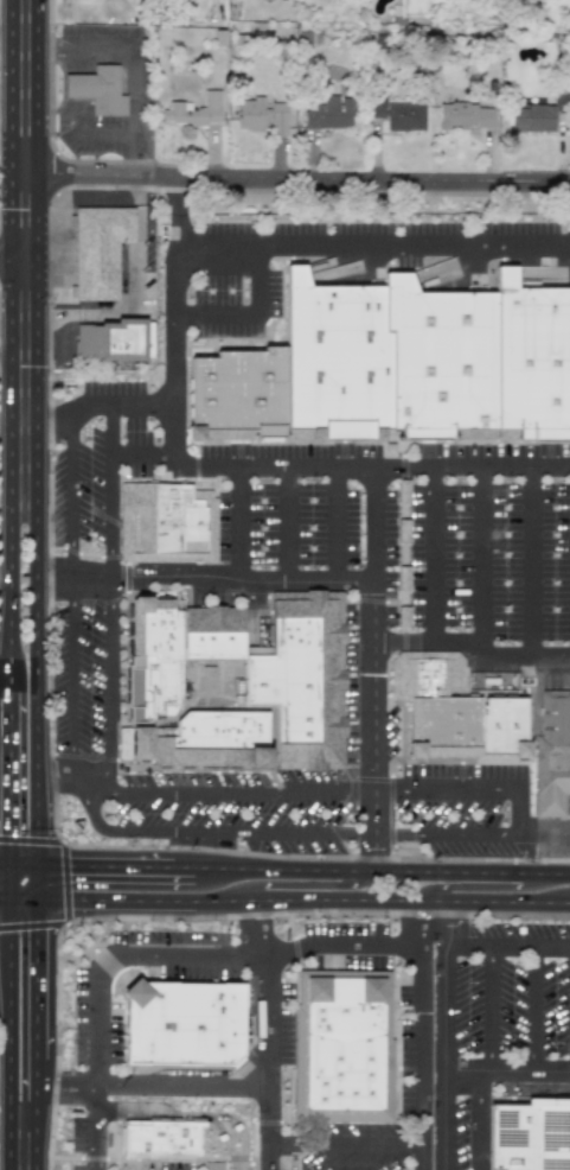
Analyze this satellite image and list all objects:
road: (5, 26)
road: (132, 64)
building: (96, 89)
building: (194, 110)
building: (329, 113)
building: (261, 114)
building: (397, 114)
building: (537, 114)
building: (465, 115)
road: (77, 133)
road: (290, 176)
road: (174, 208)
road: (371, 239)
building: (100, 249)
road: (18, 256)
road: (261, 279)
road: (218, 317)
building: (114, 341)
road: (174, 346)
road: (5, 351)
building: (425, 361)
road: (141, 395)
road: (51, 420)
road: (5, 422)
road: (9, 431)
road: (37, 432)
road: (235, 441)
road: (142, 453)
road: (66, 459)
parking lot: (97, 459)
road: (300, 465)
road: (397, 465)
road: (498, 465)
road: (203, 466)
road: (109, 469)
parking lot: (306, 508)
road: (49, 513)
building: (167, 522)
road: (235, 523)
road: (286, 523)
road: (369, 523)
road: (333, 524)
parking lot: (493, 543)
road: (427, 551)
road: (479, 557)
road: (530, 559)
road: (110, 568)
road: (68, 573)
road: (203, 580)
road: (5, 591)
road: (402, 602)
road: (398, 638)
road: (498, 649)
road: (124, 660)
road: (69, 676)
parking lot: (78, 676)
road: (107, 679)
building: (237, 685)
road: (371, 686)
road: (5, 707)
building: (455, 710)
building: (552, 753)
road: (5, 758)
road: (396, 762)
road: (219, 769)
road: (110, 775)
road: (58, 786)
parking lot: (263, 788)
road: (98, 790)
road: (228, 790)
road: (357, 790)
road: (455, 790)
road: (383, 791)
road: (81, 793)
road: (519, 808)
parking lot: (457, 809)
road: (373, 813)
road: (220, 833)
road: (467, 833)
road: (358, 834)
road: (393, 834)
road: (30, 838)
road: (374, 853)
road: (5, 863)
road: (23, 864)
road: (114, 866)
road: (283, 871)
road: (462, 873)
road: (559, 873)
road: (9, 880)
road: (37, 880)
road: (486, 885)
road: (322, 886)
road: (5, 896)
road: (23, 897)
road: (230, 898)
road: (497, 902)
road: (193, 917)
road: (423, 920)
road: (449, 922)
road: (252, 923)
road: (508, 945)
road: (199, 953)
road: (491, 1009)
road: (534, 1009)
road: (268, 1017)
building: (181, 1023)
road: (8, 1034)
road: (36, 1034)
road: (424, 1038)
building: (345, 1047)
road: (443, 1055)
road: (4, 1069)
road: (506, 1073)
road: (152, 1085)
road: (181, 1113)
road: (258, 1123)
road: (91, 1126)
road: (271, 1128)
road: (238, 1133)
building: (527, 1134)
building: (160, 1137)
road: (348, 1139)
road: (424, 1155)

